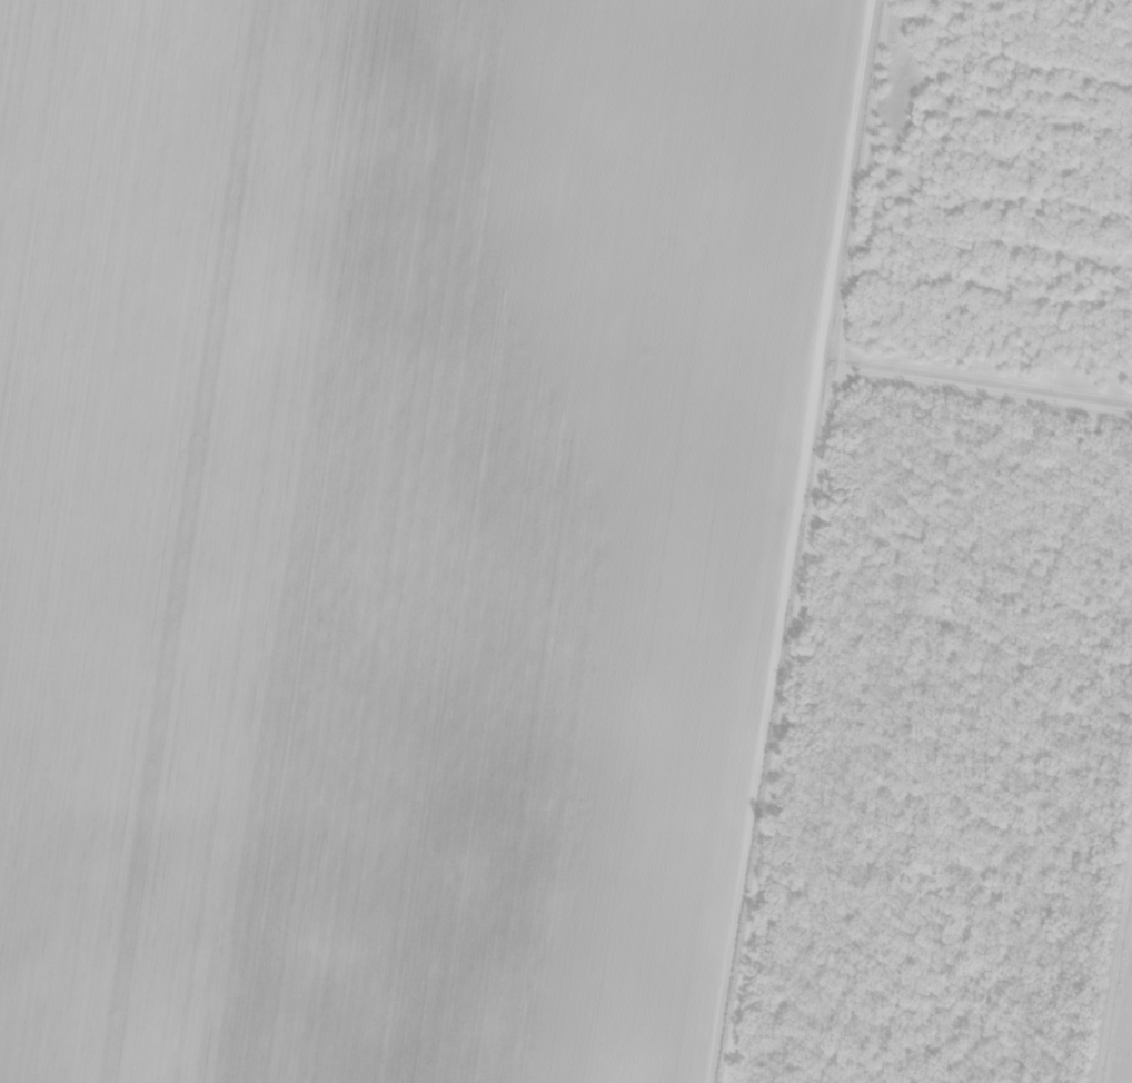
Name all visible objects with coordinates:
road: (776, 541)

